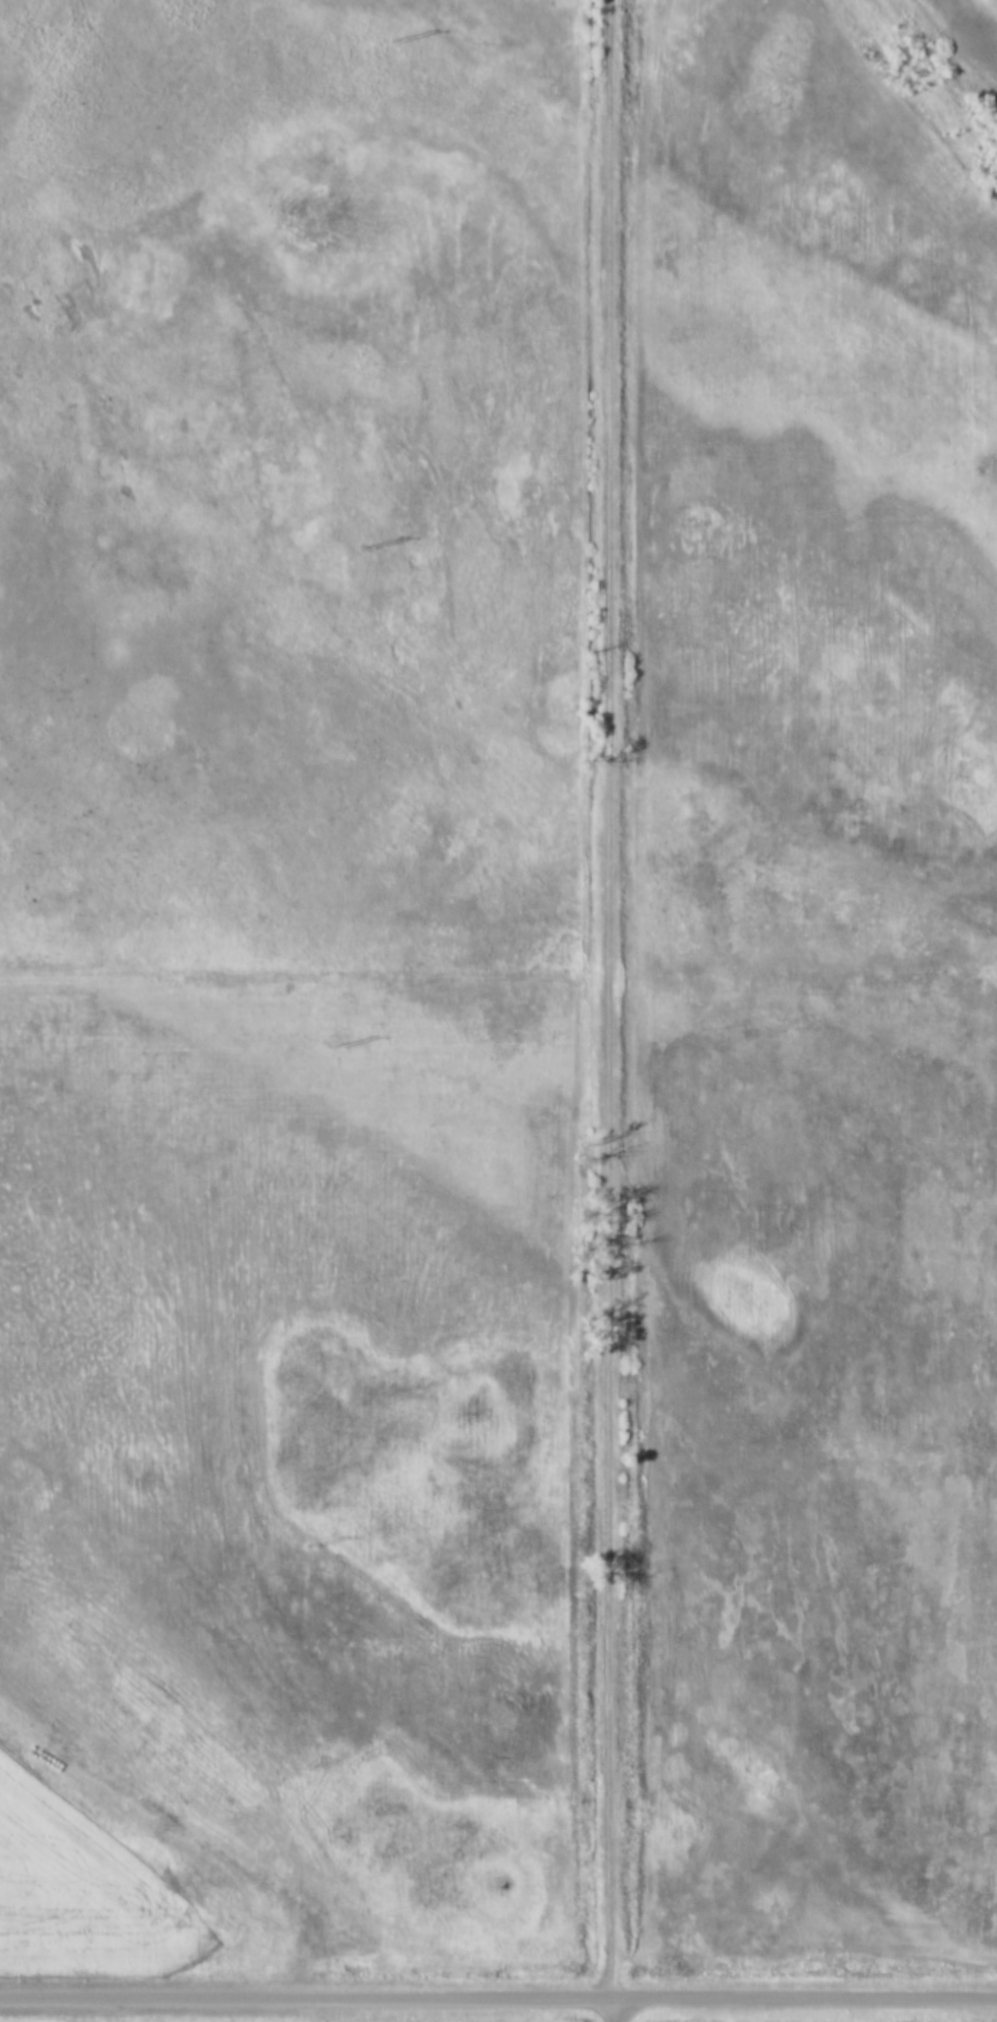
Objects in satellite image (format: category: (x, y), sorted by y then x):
power tower: (393, 40)
power tower: (368, 548)
road: (606, 998)
power tower: (340, 1047)
power tower: (310, 1547)
road: (498, 1996)
road: (609, 2009)

